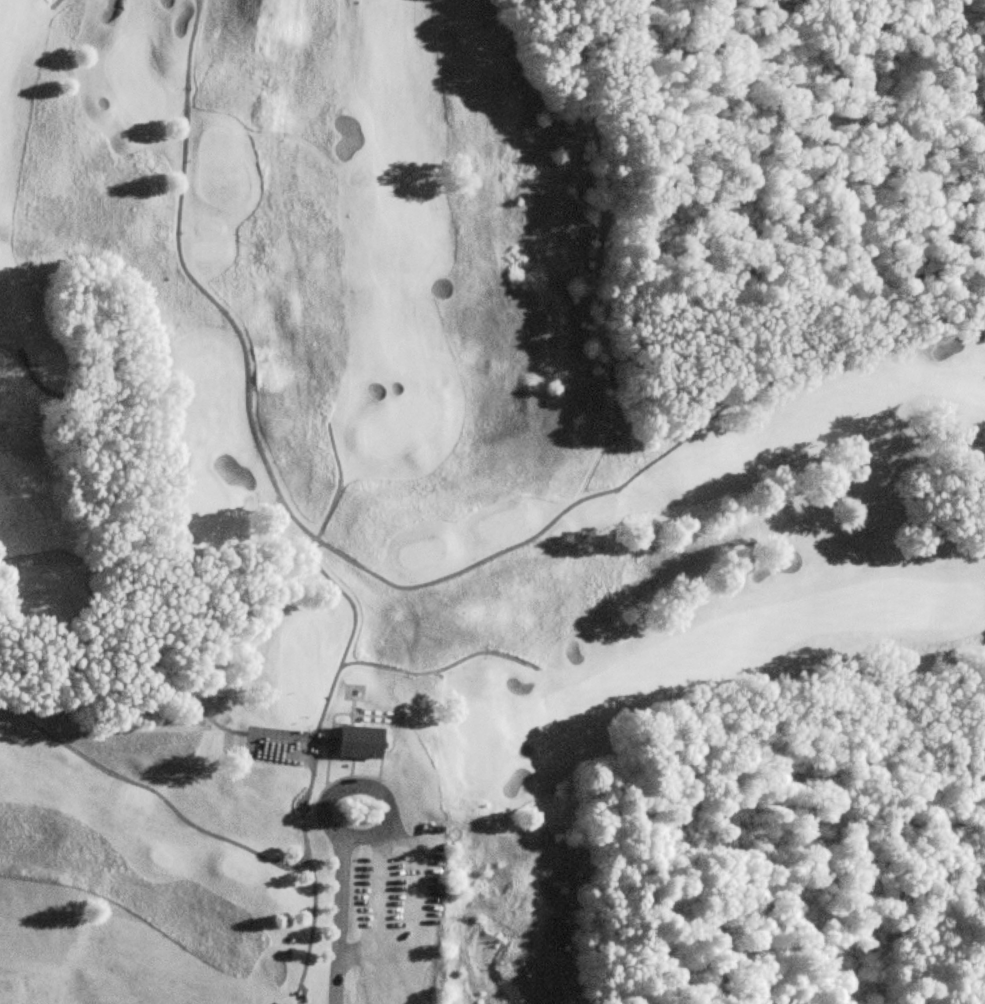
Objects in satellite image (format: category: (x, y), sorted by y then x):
park: (381, 513)
building: (355, 743)
road: (370, 789)
road: (337, 930)
parking lot: (400, 935)
building: (293, 956)

